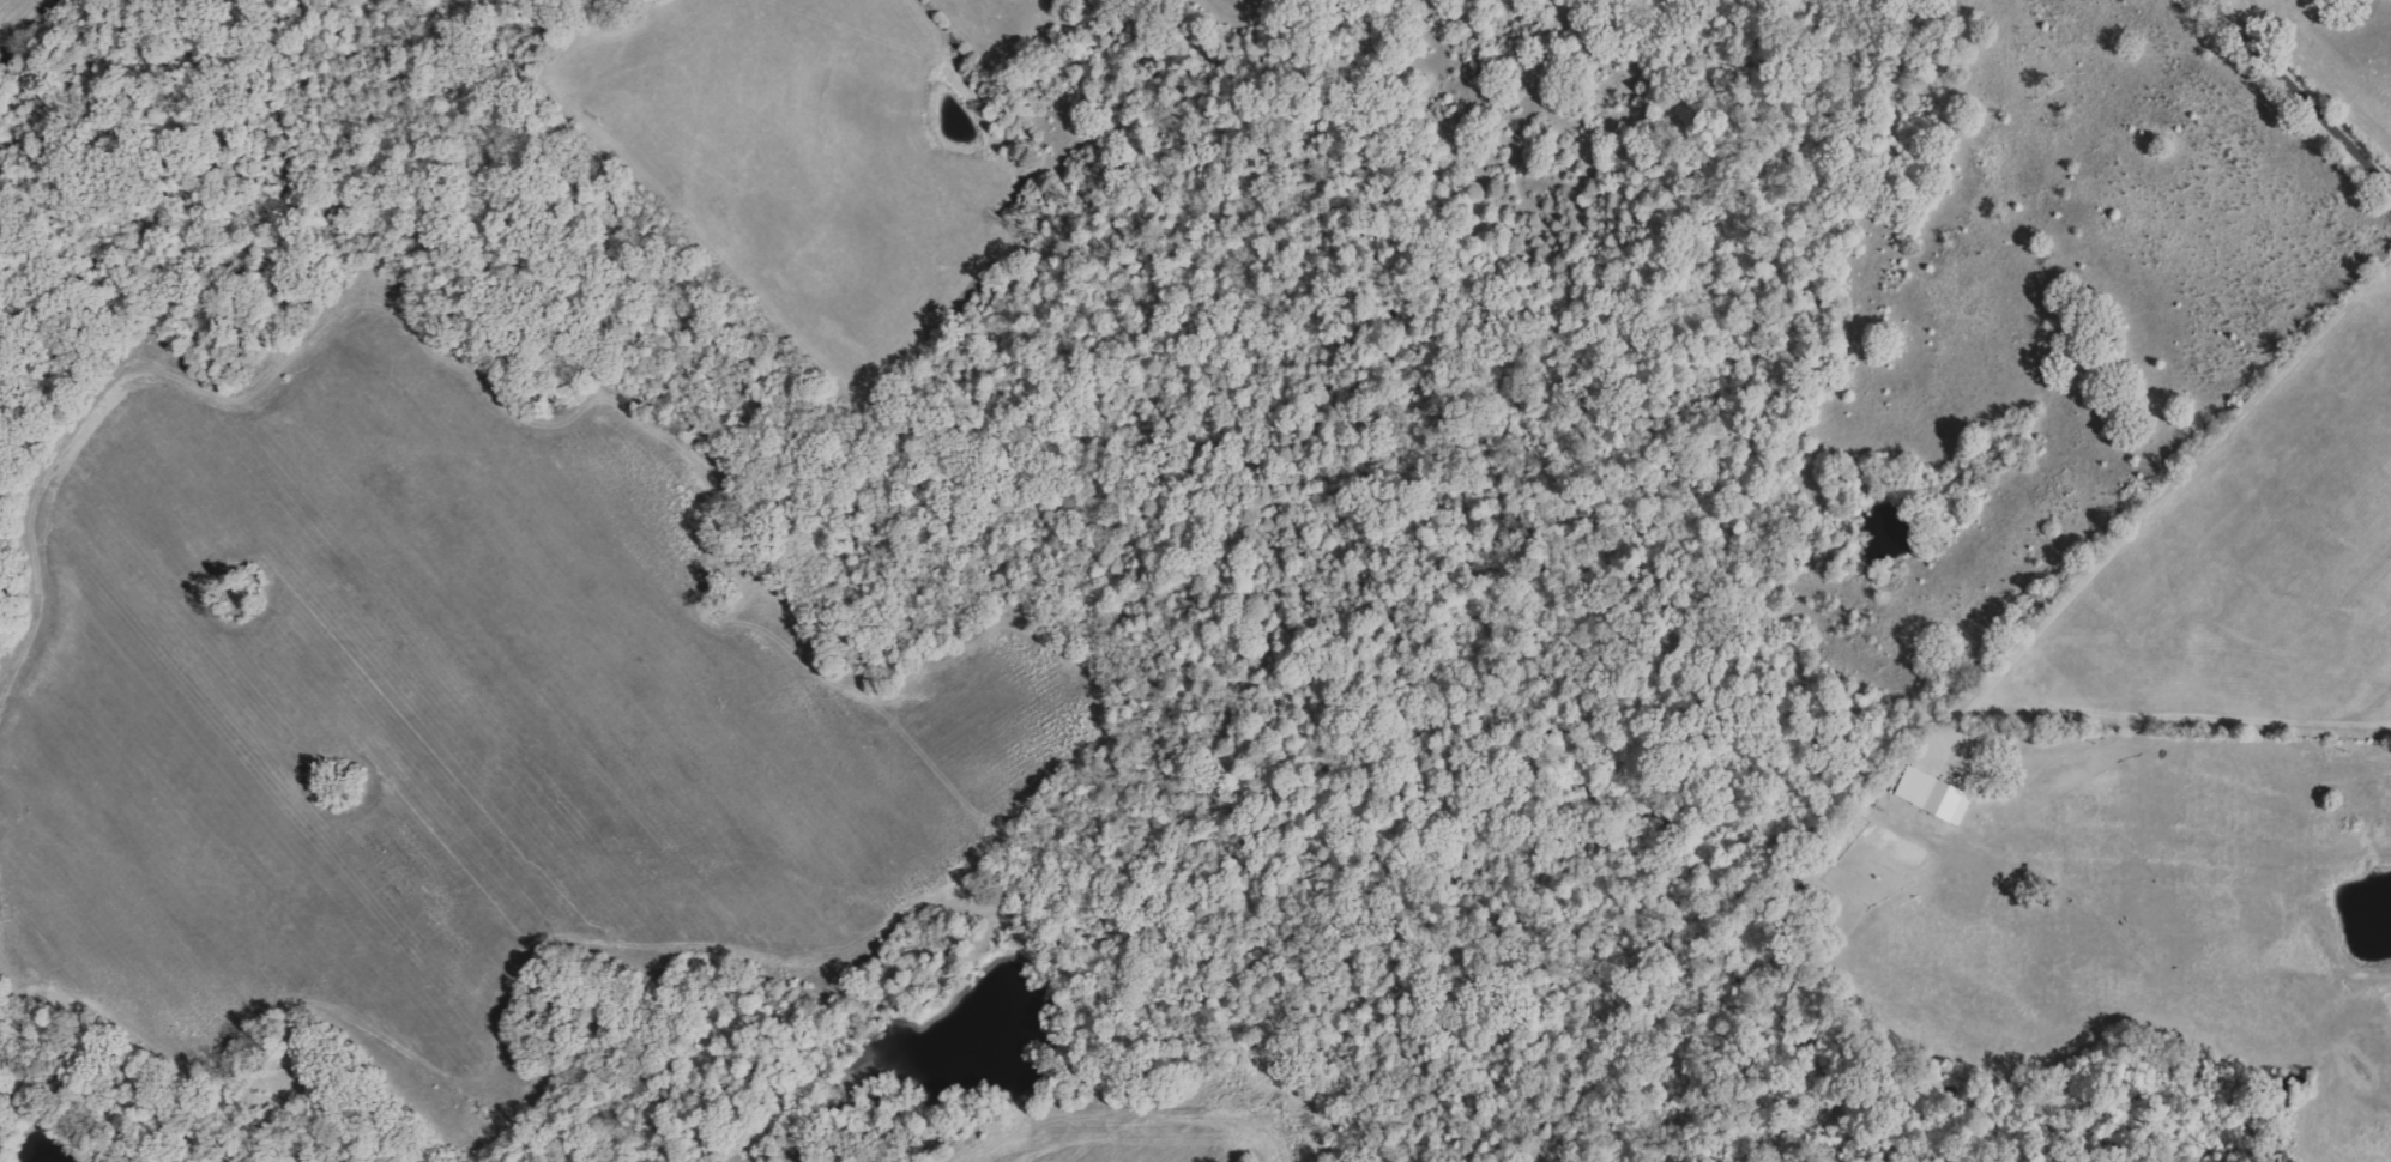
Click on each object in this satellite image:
road: (2301, 91)
road: (2158, 495)
building: (1940, 795)

